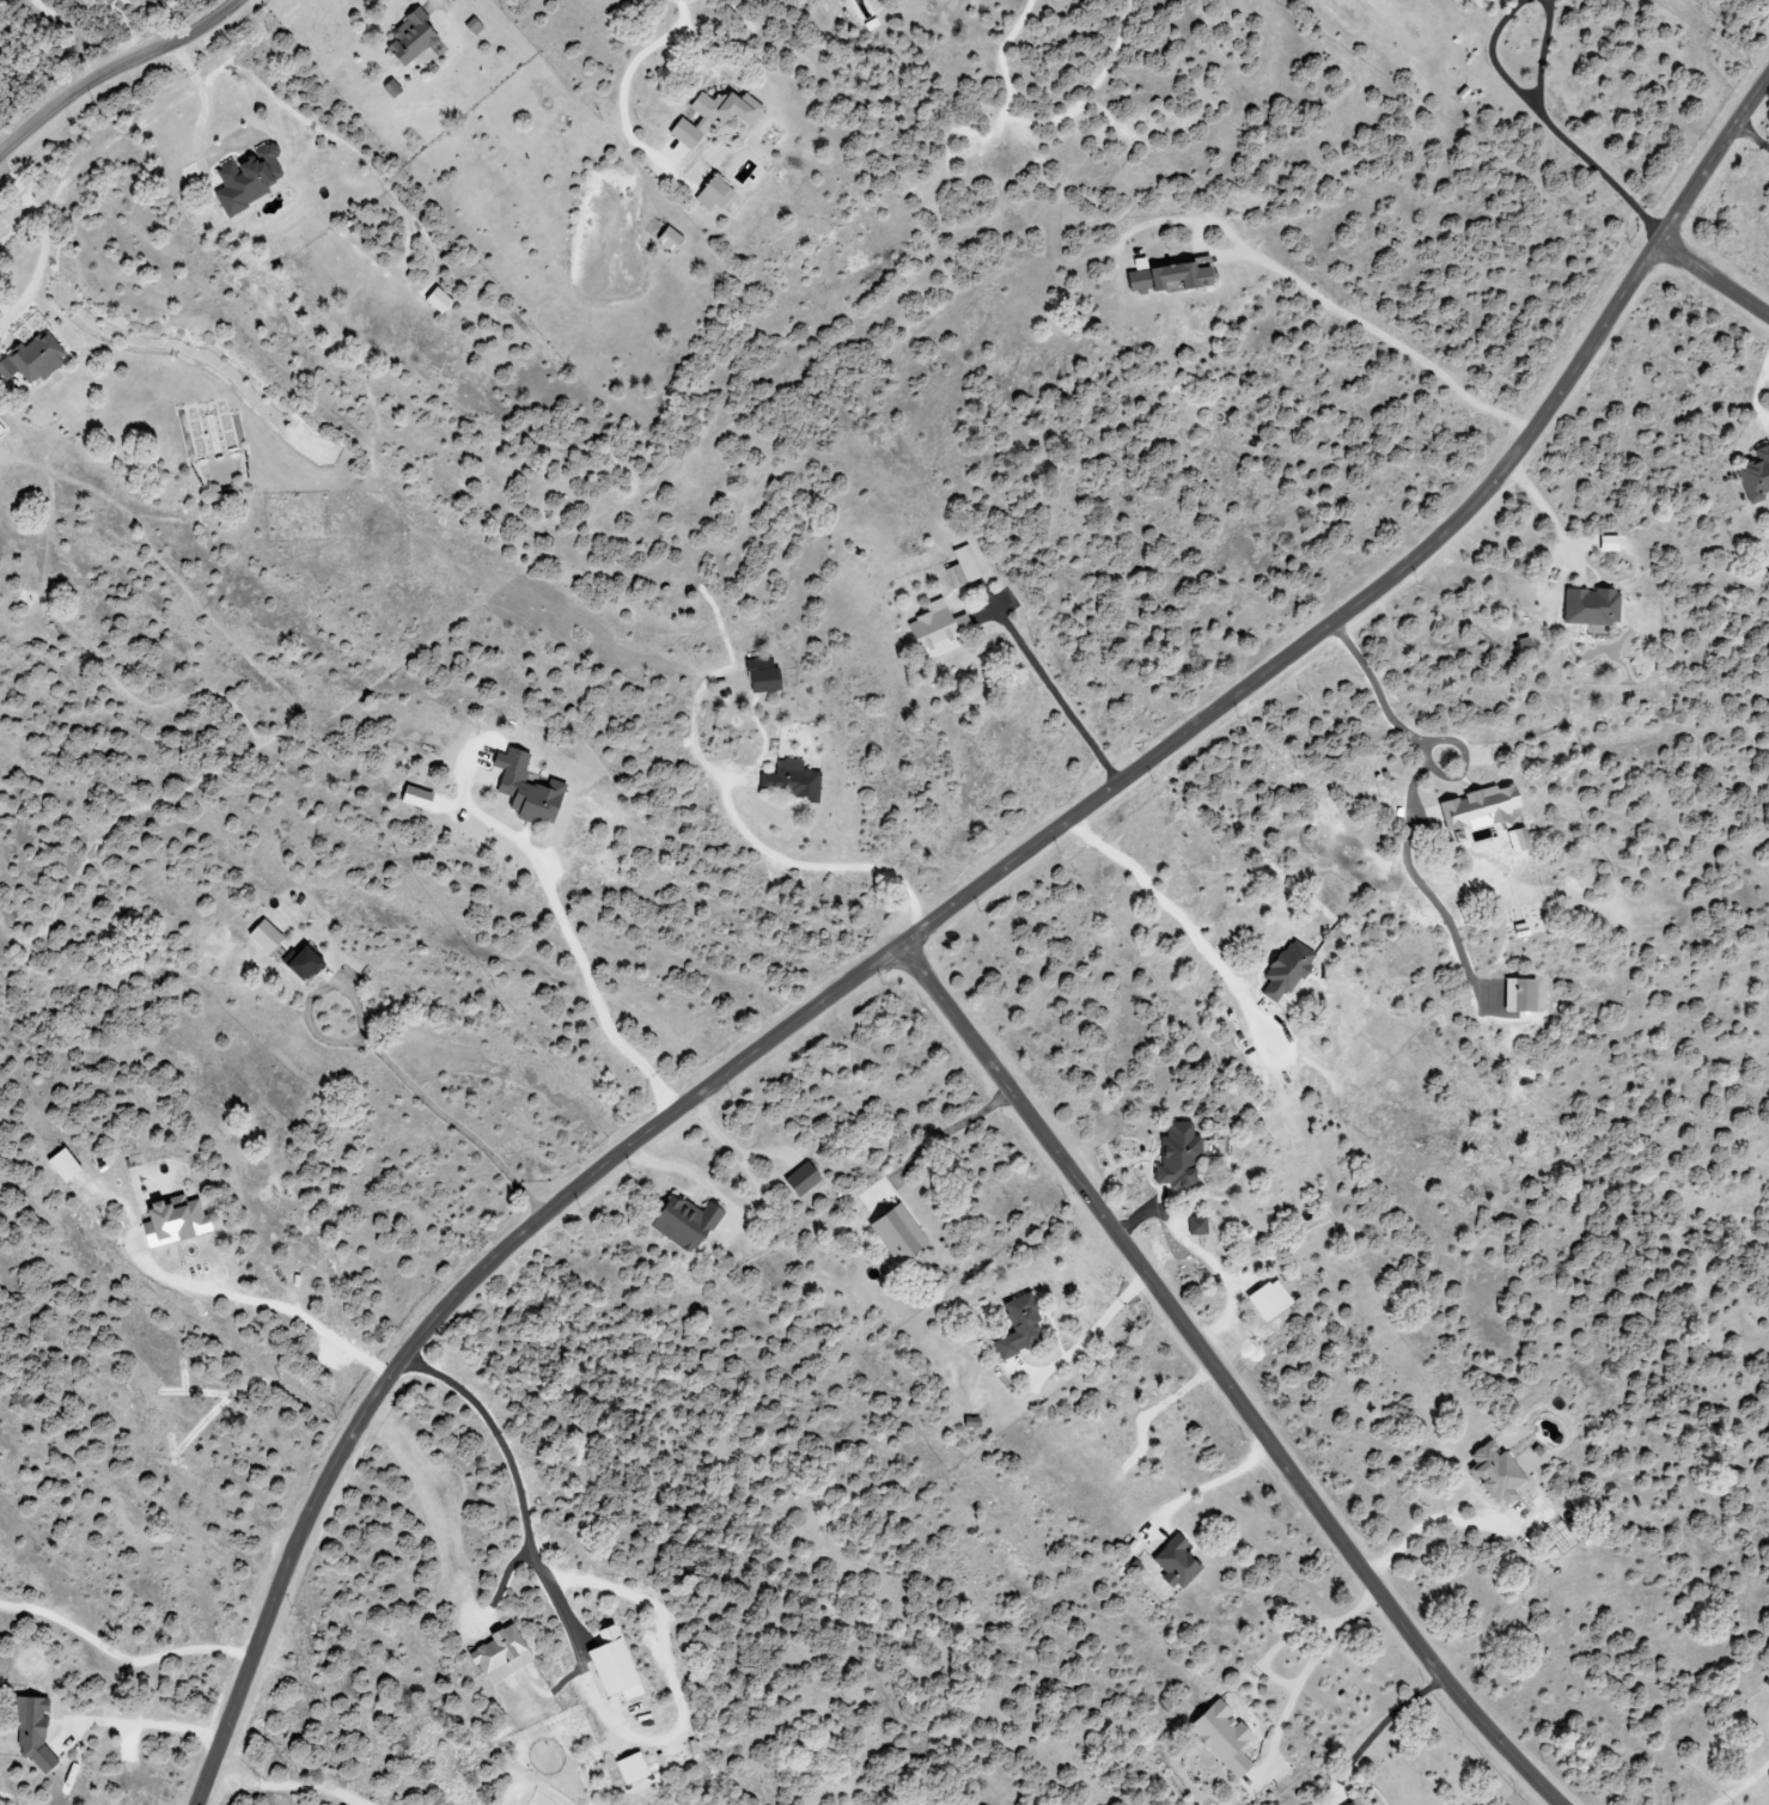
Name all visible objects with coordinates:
road: (432, 4)
building: (1477, 4)
building: (414, 38)
road: (115, 69)
road: (203, 108)
building: (728, 109)
road: (1563, 134)
building: (688, 135)
road: (1752, 136)
building: (251, 179)
road: (18, 187)
building: (718, 195)
road: (18, 226)
building: (672, 240)
road: (38, 268)
building: (1164, 275)
road: (1713, 283)
building: (441, 301)
road: (1383, 330)
building: (33, 361)
road: (1767, 364)
road: (1767, 372)
road: (1757, 395)
building: (1, 431)
building: (1752, 475)
road: (1543, 510)
building: (1606, 544)
building: (960, 568)
building: (1587, 608)
building: (935, 630)
building: (760, 676)
road: (1056, 689)
road: (1419, 734)
building: (788, 781)
building: (523, 789)
building: (413, 798)
building: (1475, 809)
building: (1514, 840)
road: (815, 868)
road: (1170, 902)
road: (941, 915)
building: (261, 937)
building: (297, 965)
building: (1283, 970)
building: (1515, 996)
road: (437, 1115)
road: (943, 1141)
building: (1173, 1155)
building: (67, 1165)
building: (798, 1181)
building: (177, 1221)
building: (678, 1222)
building: (1192, 1227)
building: (897, 1231)
road: (1202, 1255)
building: (1264, 1300)
road: (279, 1304)
building: (1014, 1325)
road: (1220, 1380)
building: (968, 1423)
building: (1493, 1475)
road: (1209, 1482)
road: (520, 1490)
road: (1429, 1523)
building: (1172, 1562)
road: (122, 1653)
building: (504, 1654)
building: (620, 1671)
road: (1293, 1681)
road: (146, 1720)
road: (1379, 1726)
building: (36, 1731)
building: (1218, 1737)
building: (634, 1769)
road: (1744, 1786)
building: (1347, 1803)

